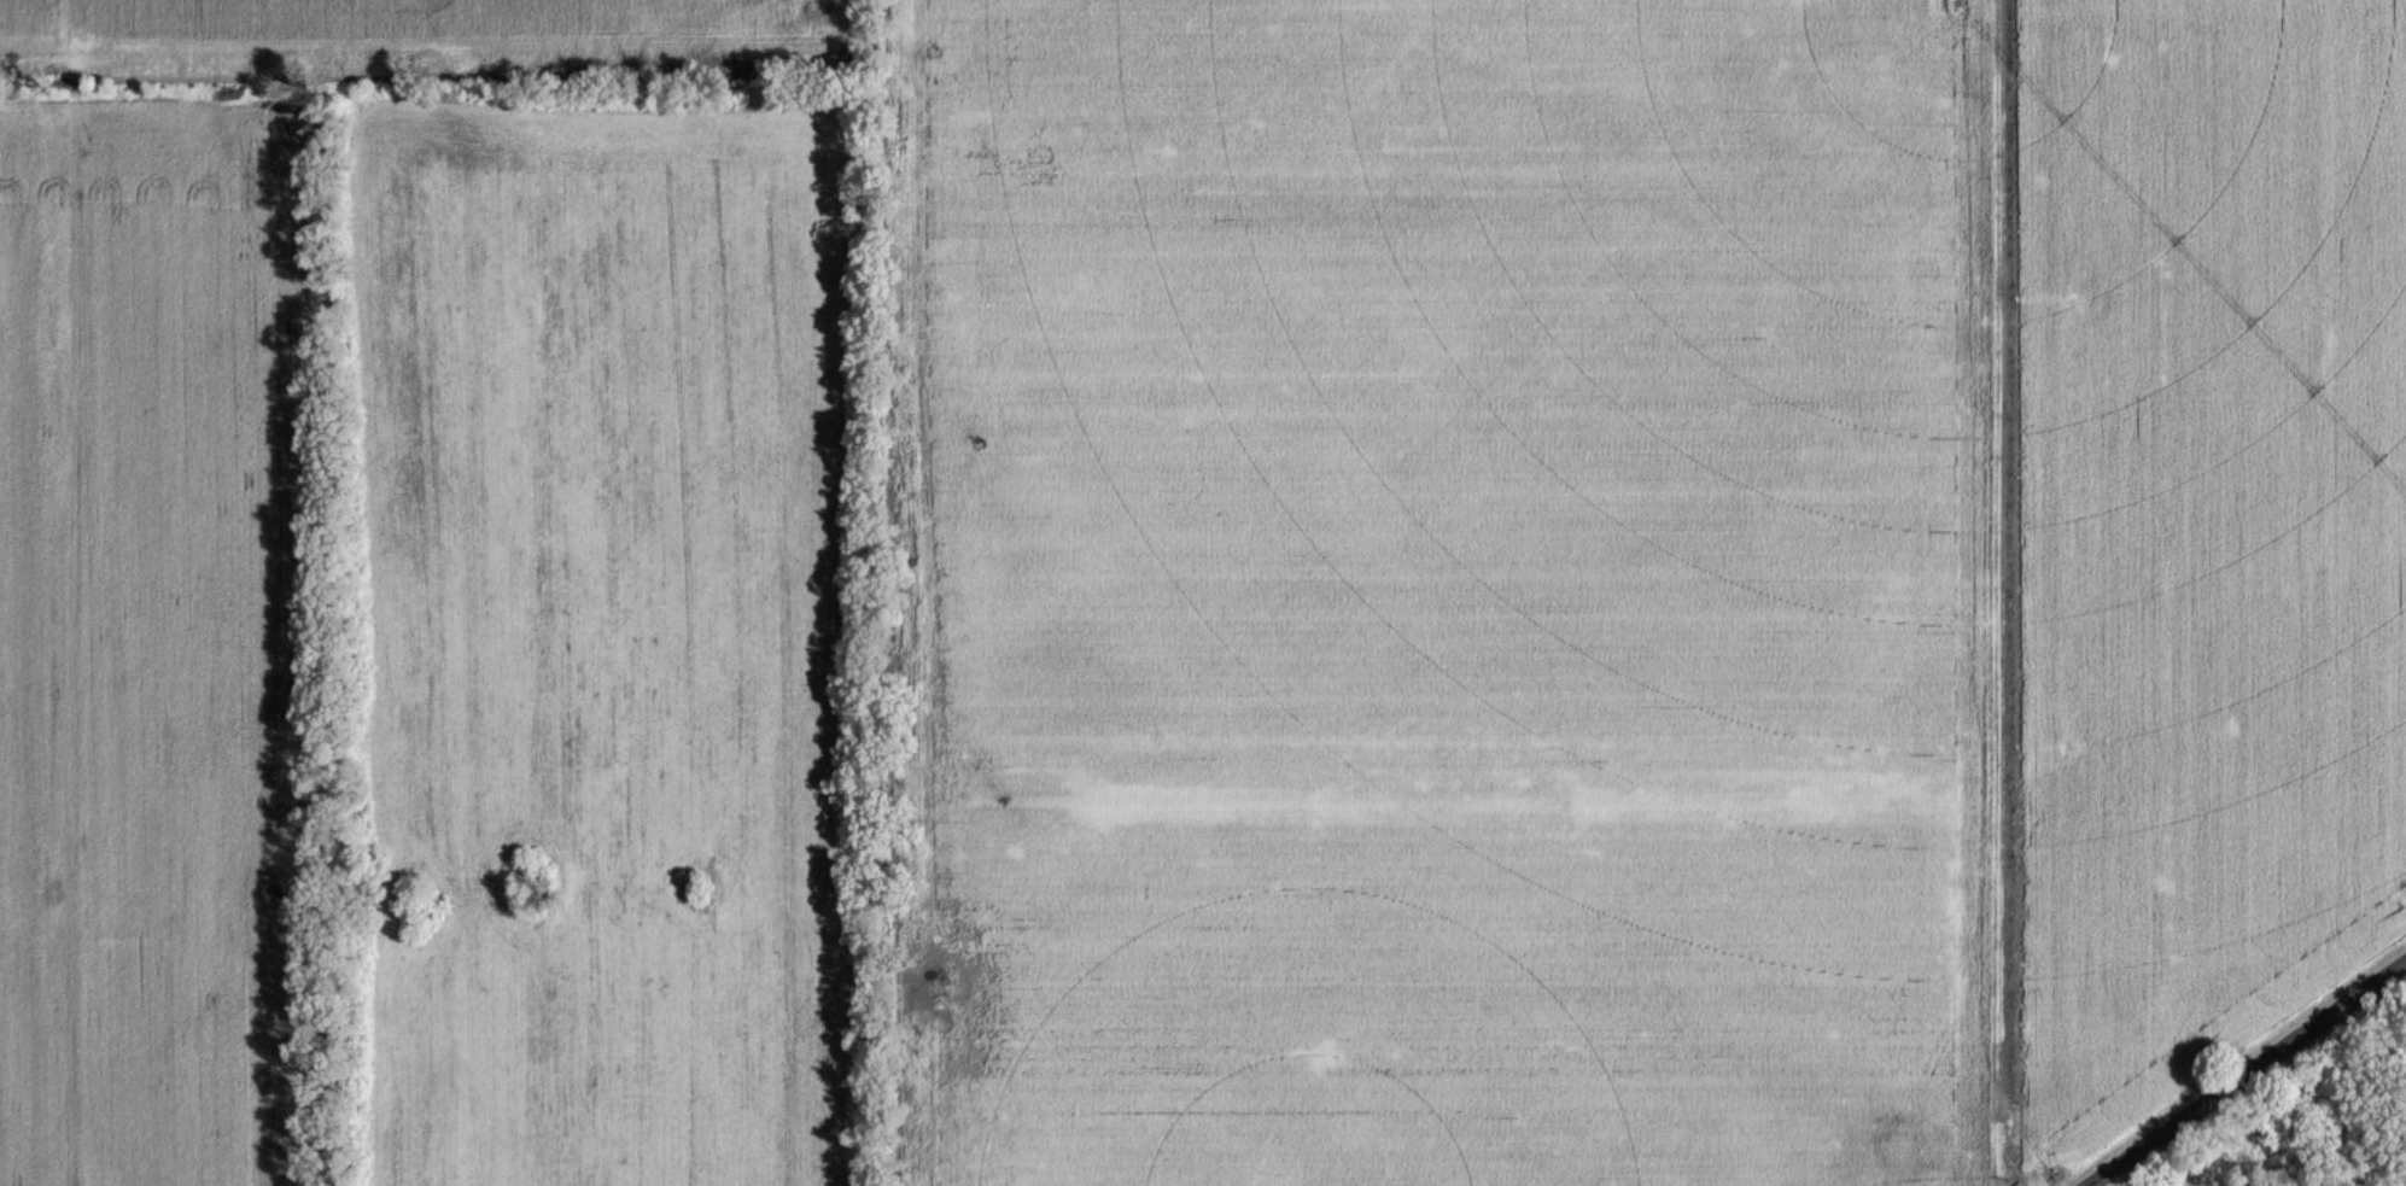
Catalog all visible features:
road: (2246, 1073)

